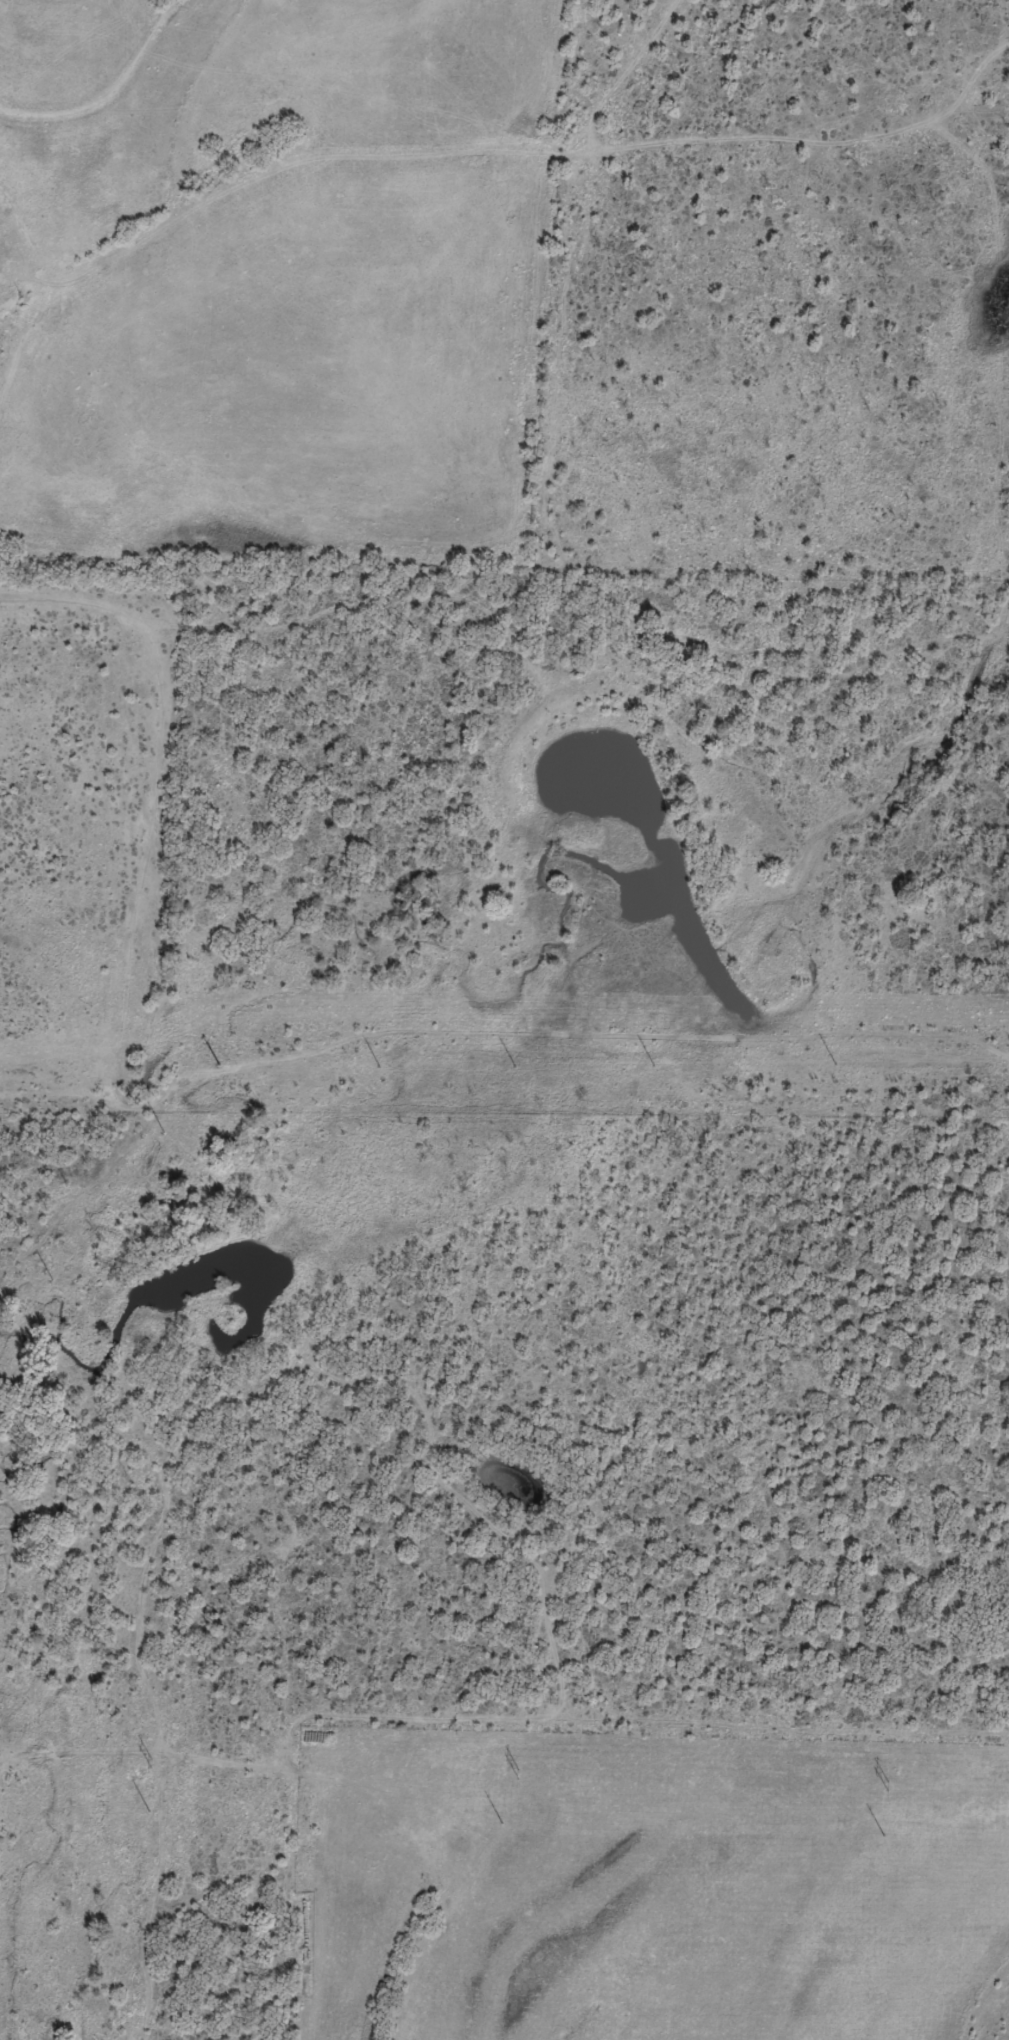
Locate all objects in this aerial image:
power tower: (149, 1762)
power tower: (518, 1775)
power tower: (887, 1787)

